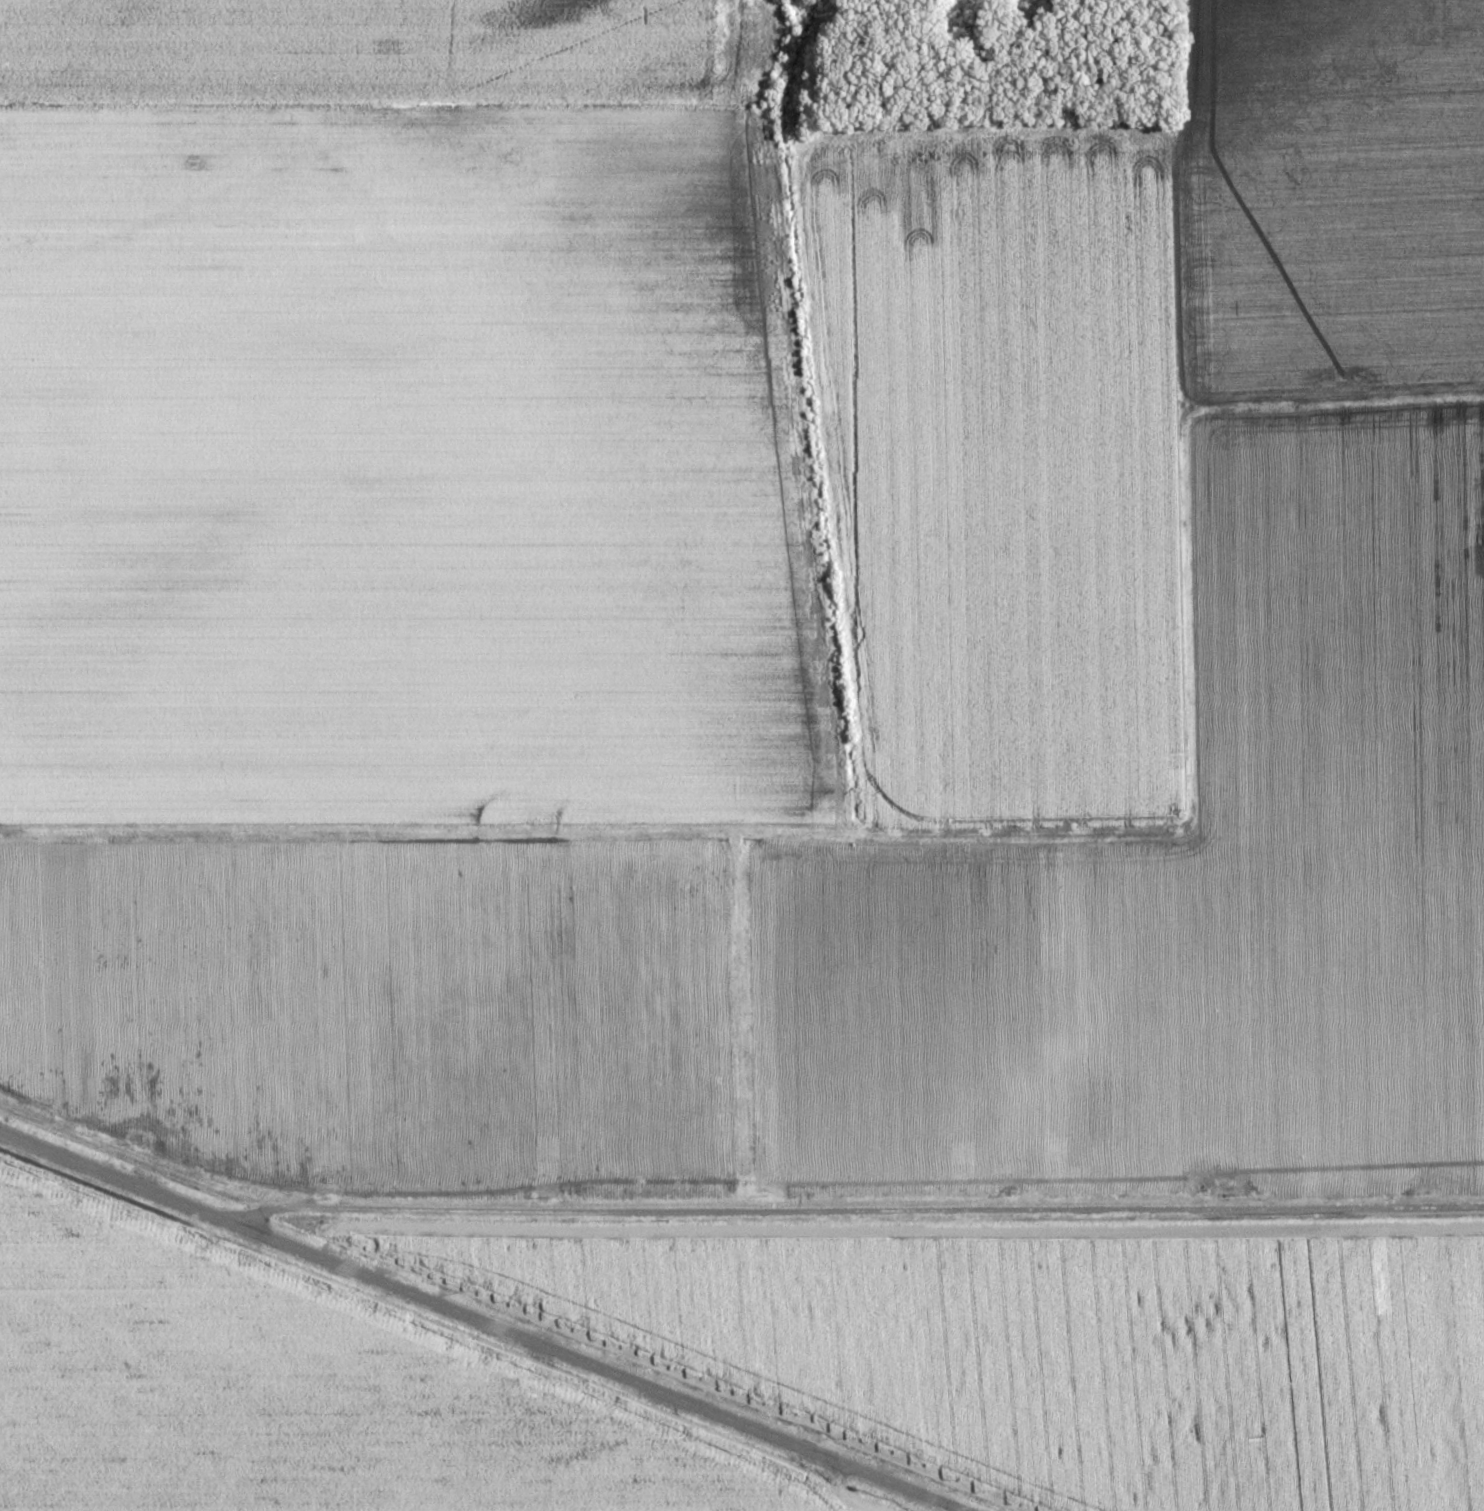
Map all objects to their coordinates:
road: (941, 837)
road: (734, 1019)
road: (111, 1174)
road: (851, 1207)
road: (540, 1348)
road: (907, 1492)

